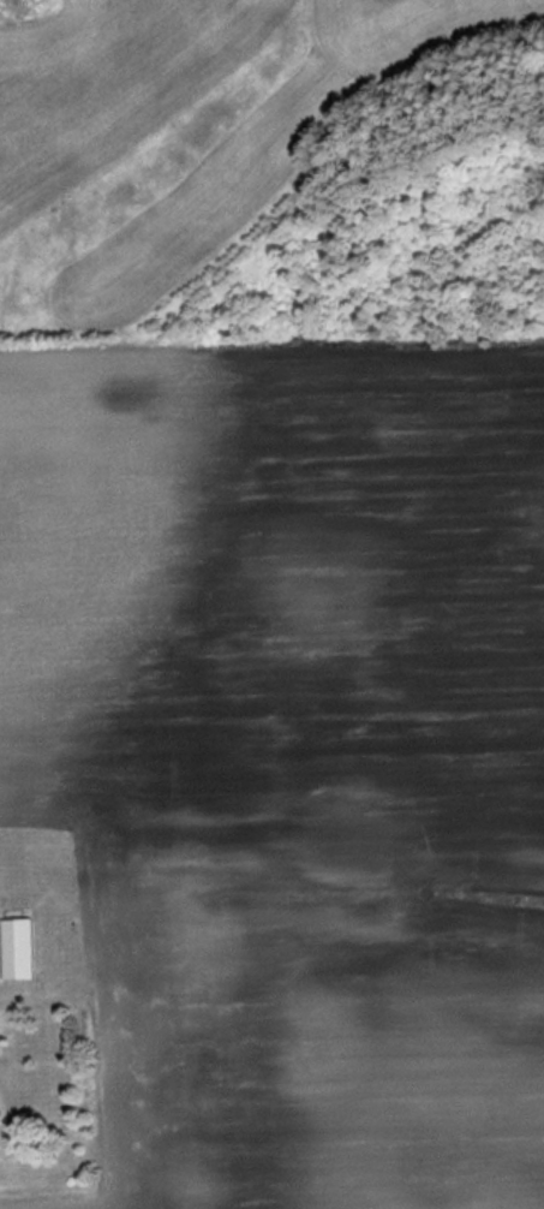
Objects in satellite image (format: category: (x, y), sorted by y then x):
building: (24, 949)

